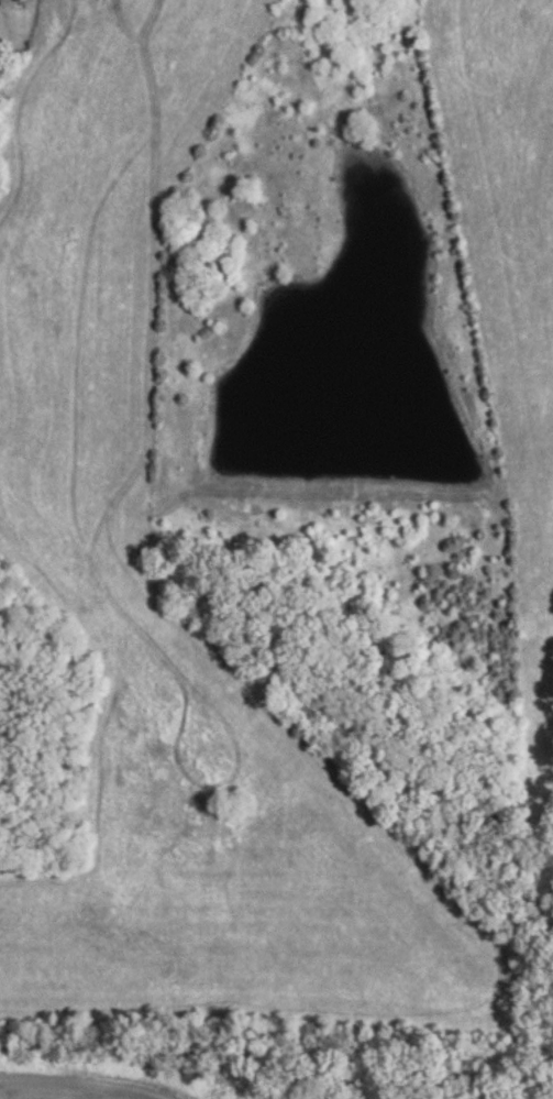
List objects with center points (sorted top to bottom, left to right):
building: (3, 31)

